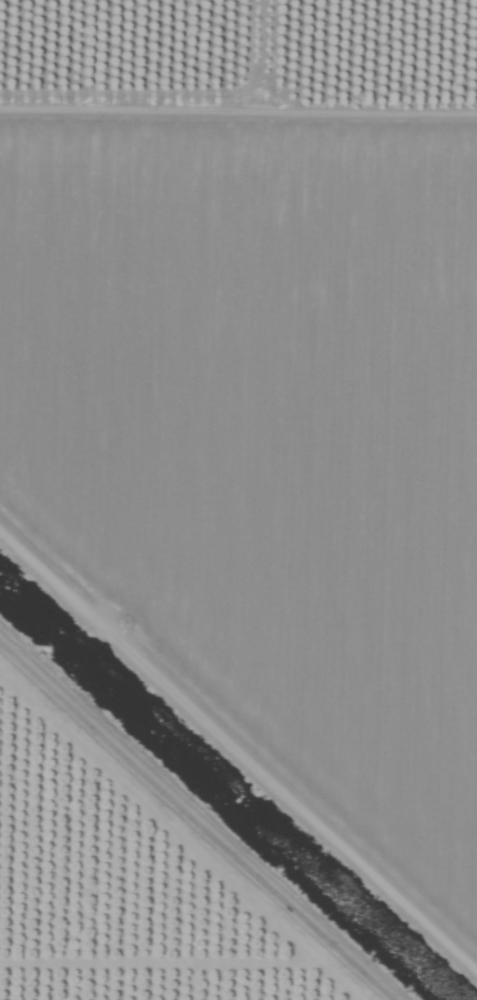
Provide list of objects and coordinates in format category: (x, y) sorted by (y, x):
crop: (238, 500)
road: (192, 822)

